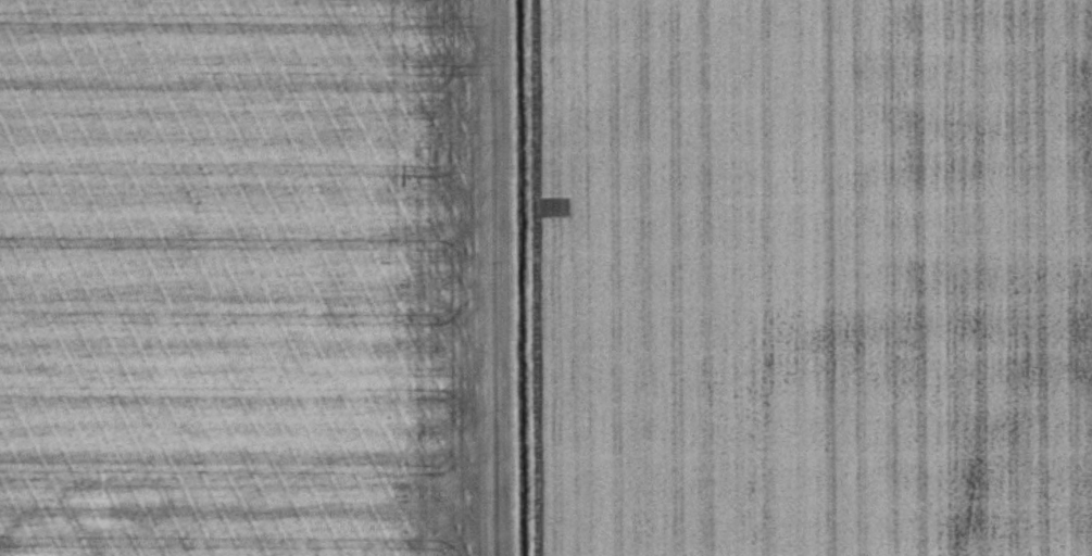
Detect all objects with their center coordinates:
crop: (242, 277)
crop: (812, 277)
road: (499, 278)

